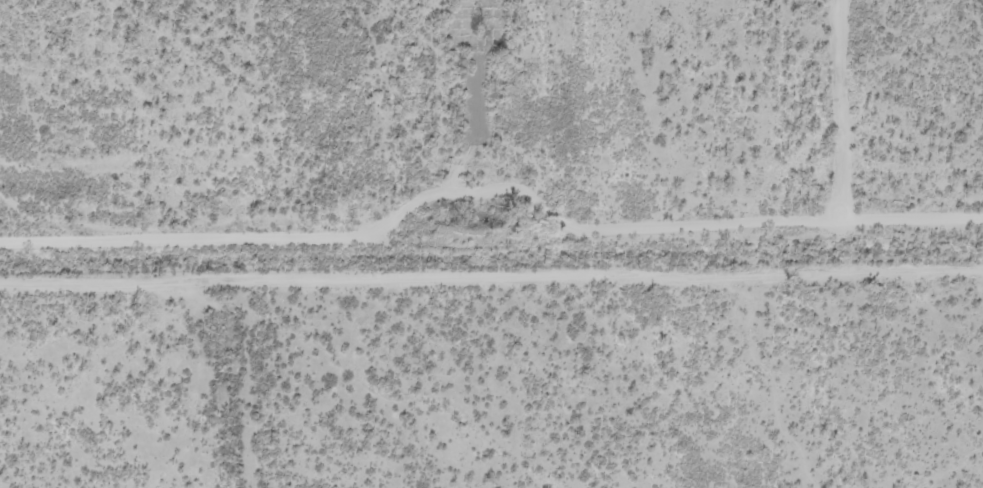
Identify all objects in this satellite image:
airport: (483, 123)
road: (418, 399)

